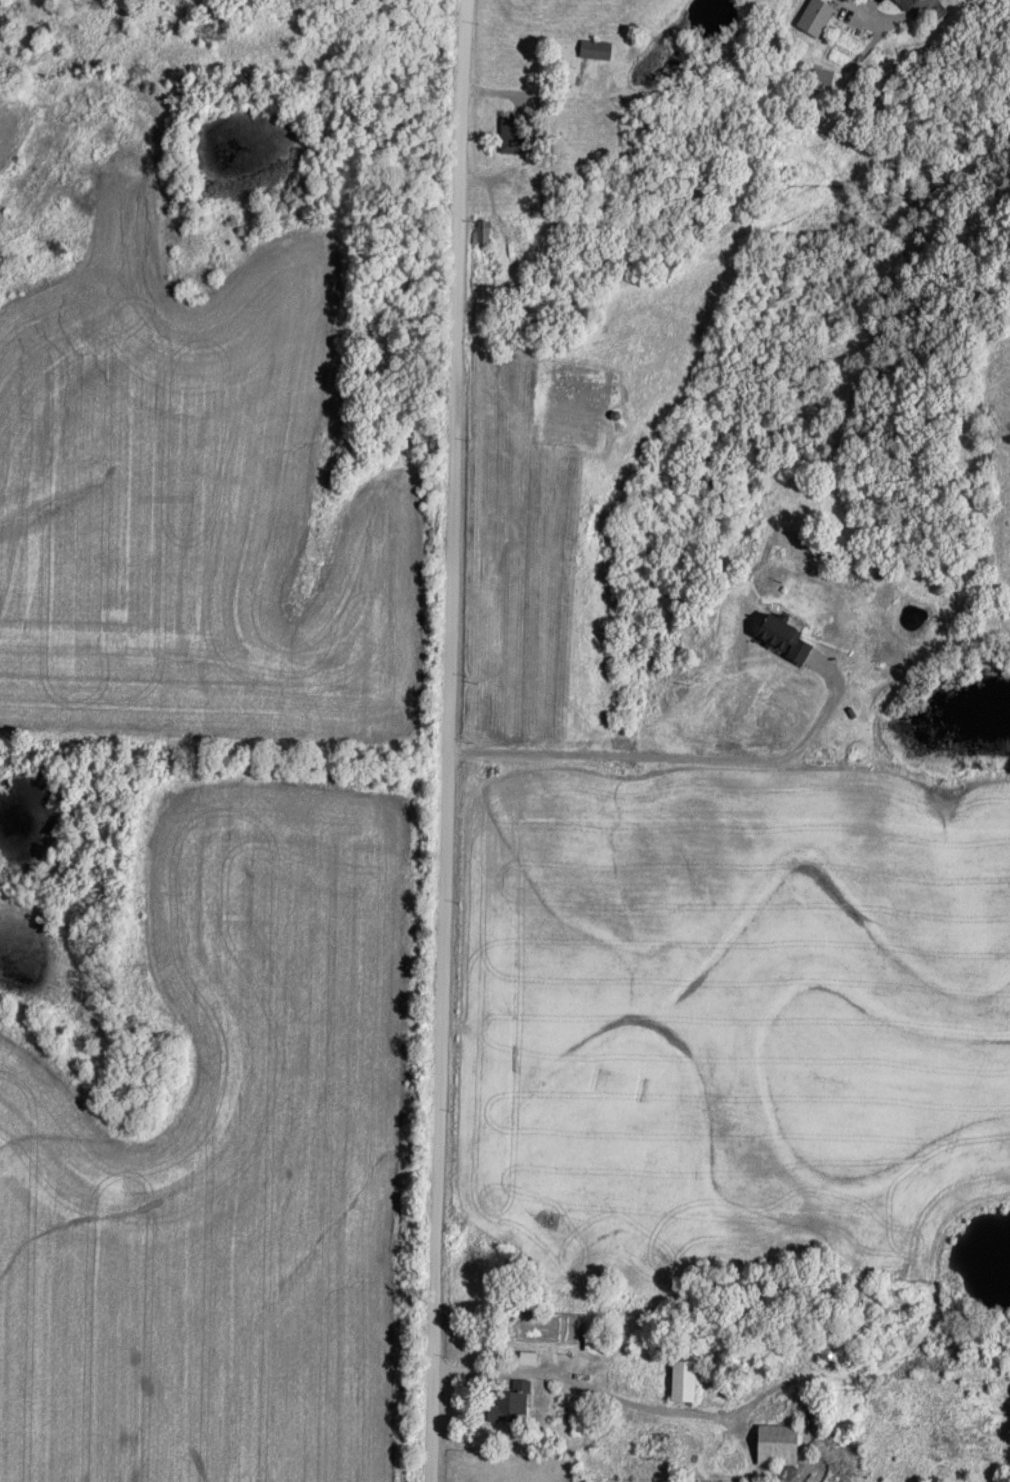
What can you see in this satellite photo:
building: (910, 4)
building: (816, 16)
road: (887, 17)
building: (597, 49)
road: (535, 96)
building: (514, 134)
road: (536, 161)
road: (450, 740)
building: (829, 1354)
building: (529, 1357)
building: (685, 1379)
road: (584, 1386)
building: (510, 1403)
park: (842, 1407)
building: (779, 1444)

